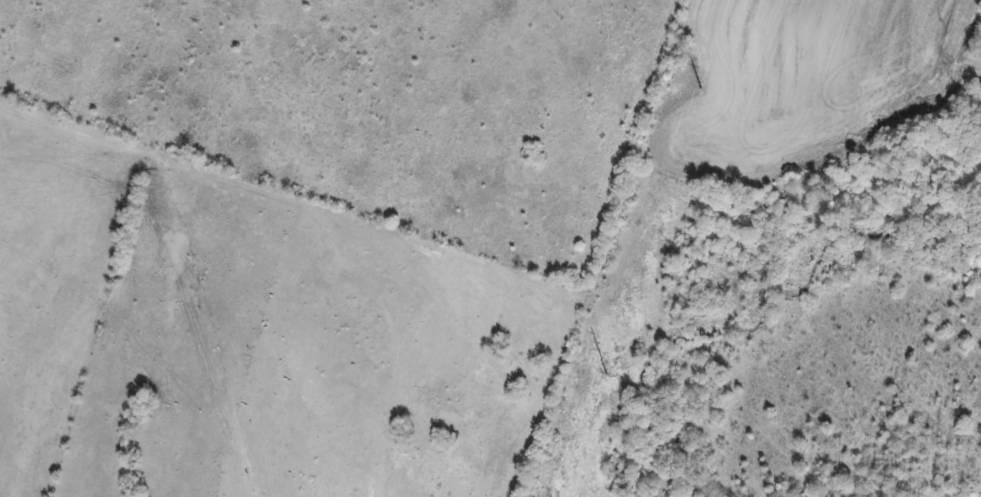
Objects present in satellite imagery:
power tower: (705, 89)

